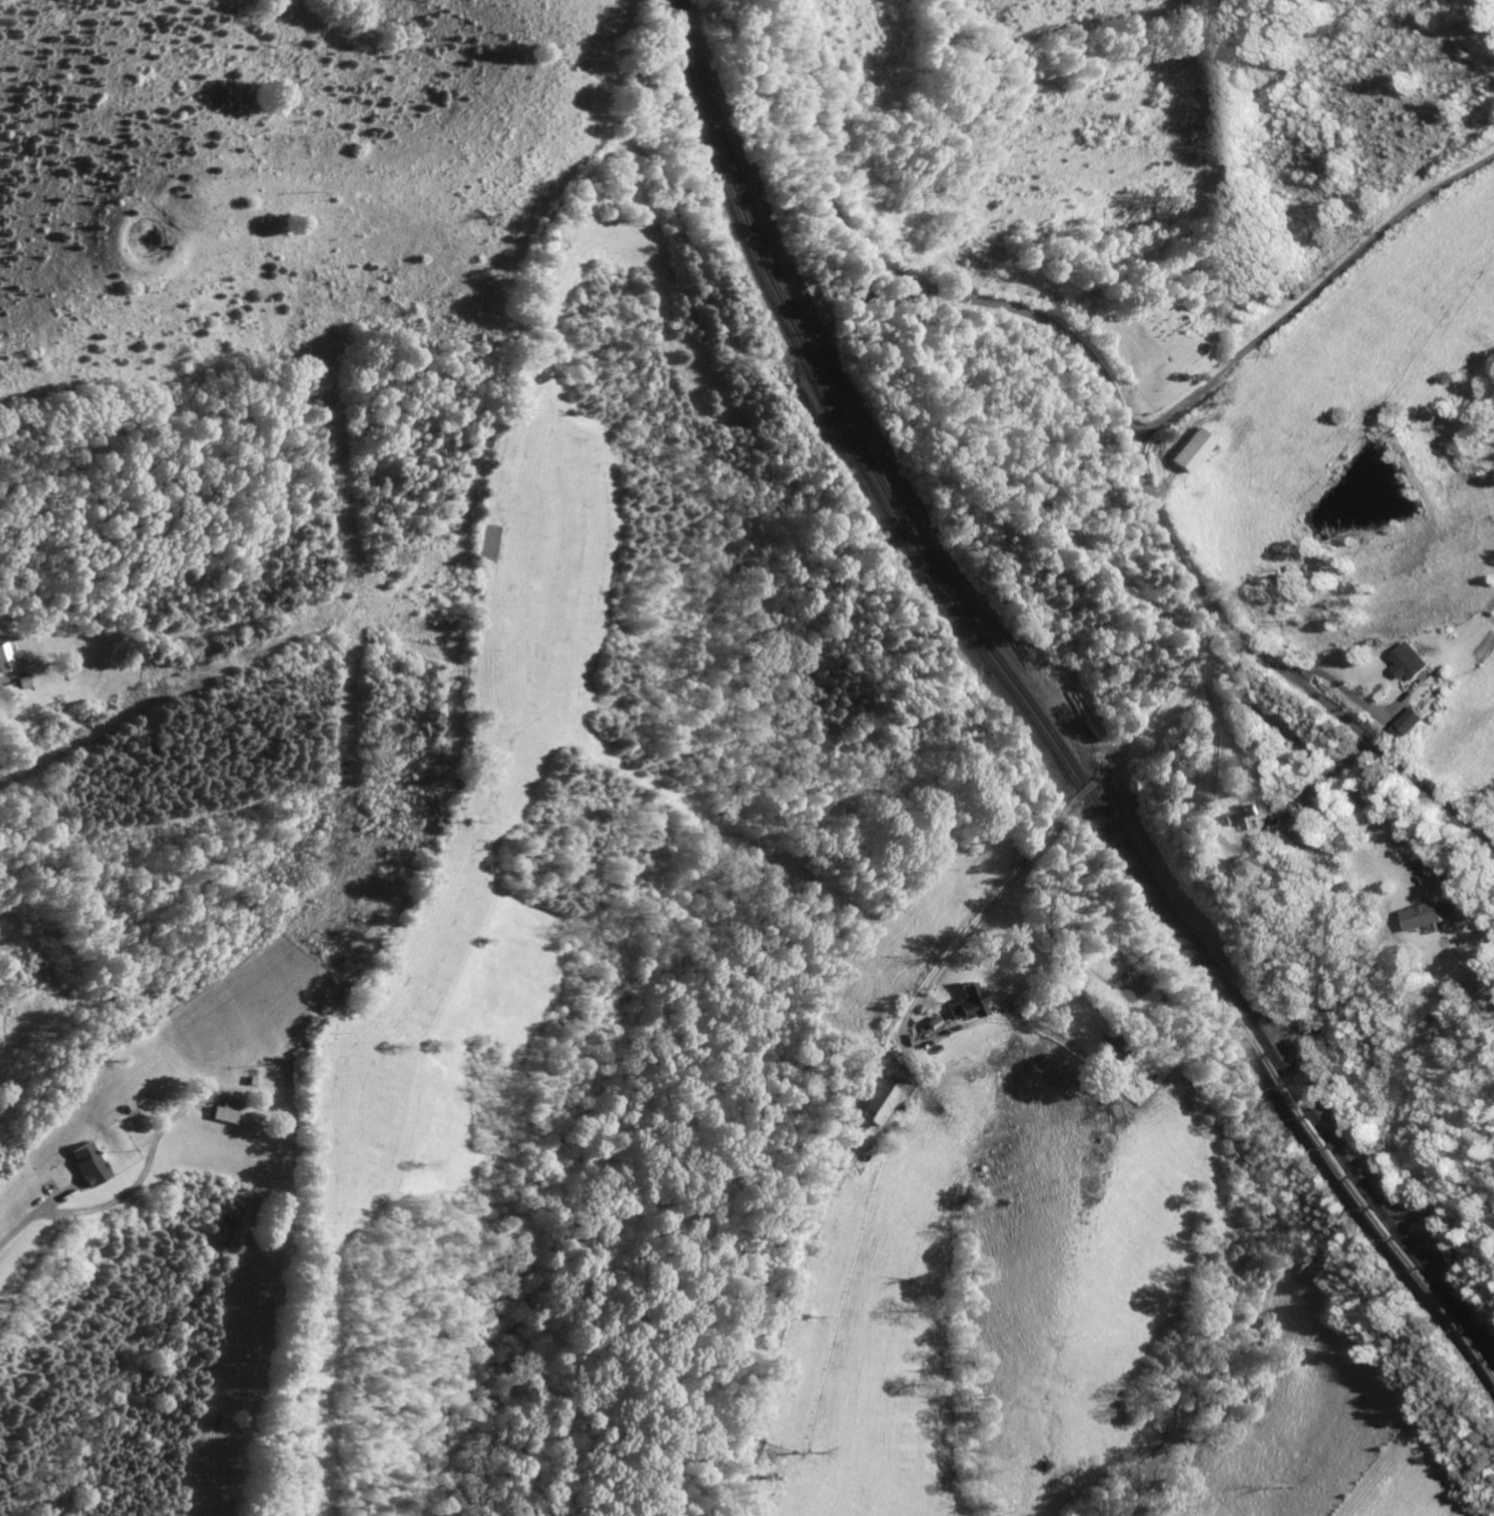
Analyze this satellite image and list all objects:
road: (673, 220)
road: (1311, 294)
park: (1173, 343)
road: (1120, 412)
building: (1187, 451)
building: (3, 657)
building: (1410, 661)
road: (4, 677)
railway: (1034, 708)
railway: (1030, 716)
building: (1409, 724)
building: (1240, 815)
road: (1058, 823)
building: (1431, 915)
building: (961, 1002)
railway: (1280, 1065)
building: (863, 1101)
building: (218, 1114)
building: (86, 1164)
road: (87, 1211)
railway: (1430, 1278)

